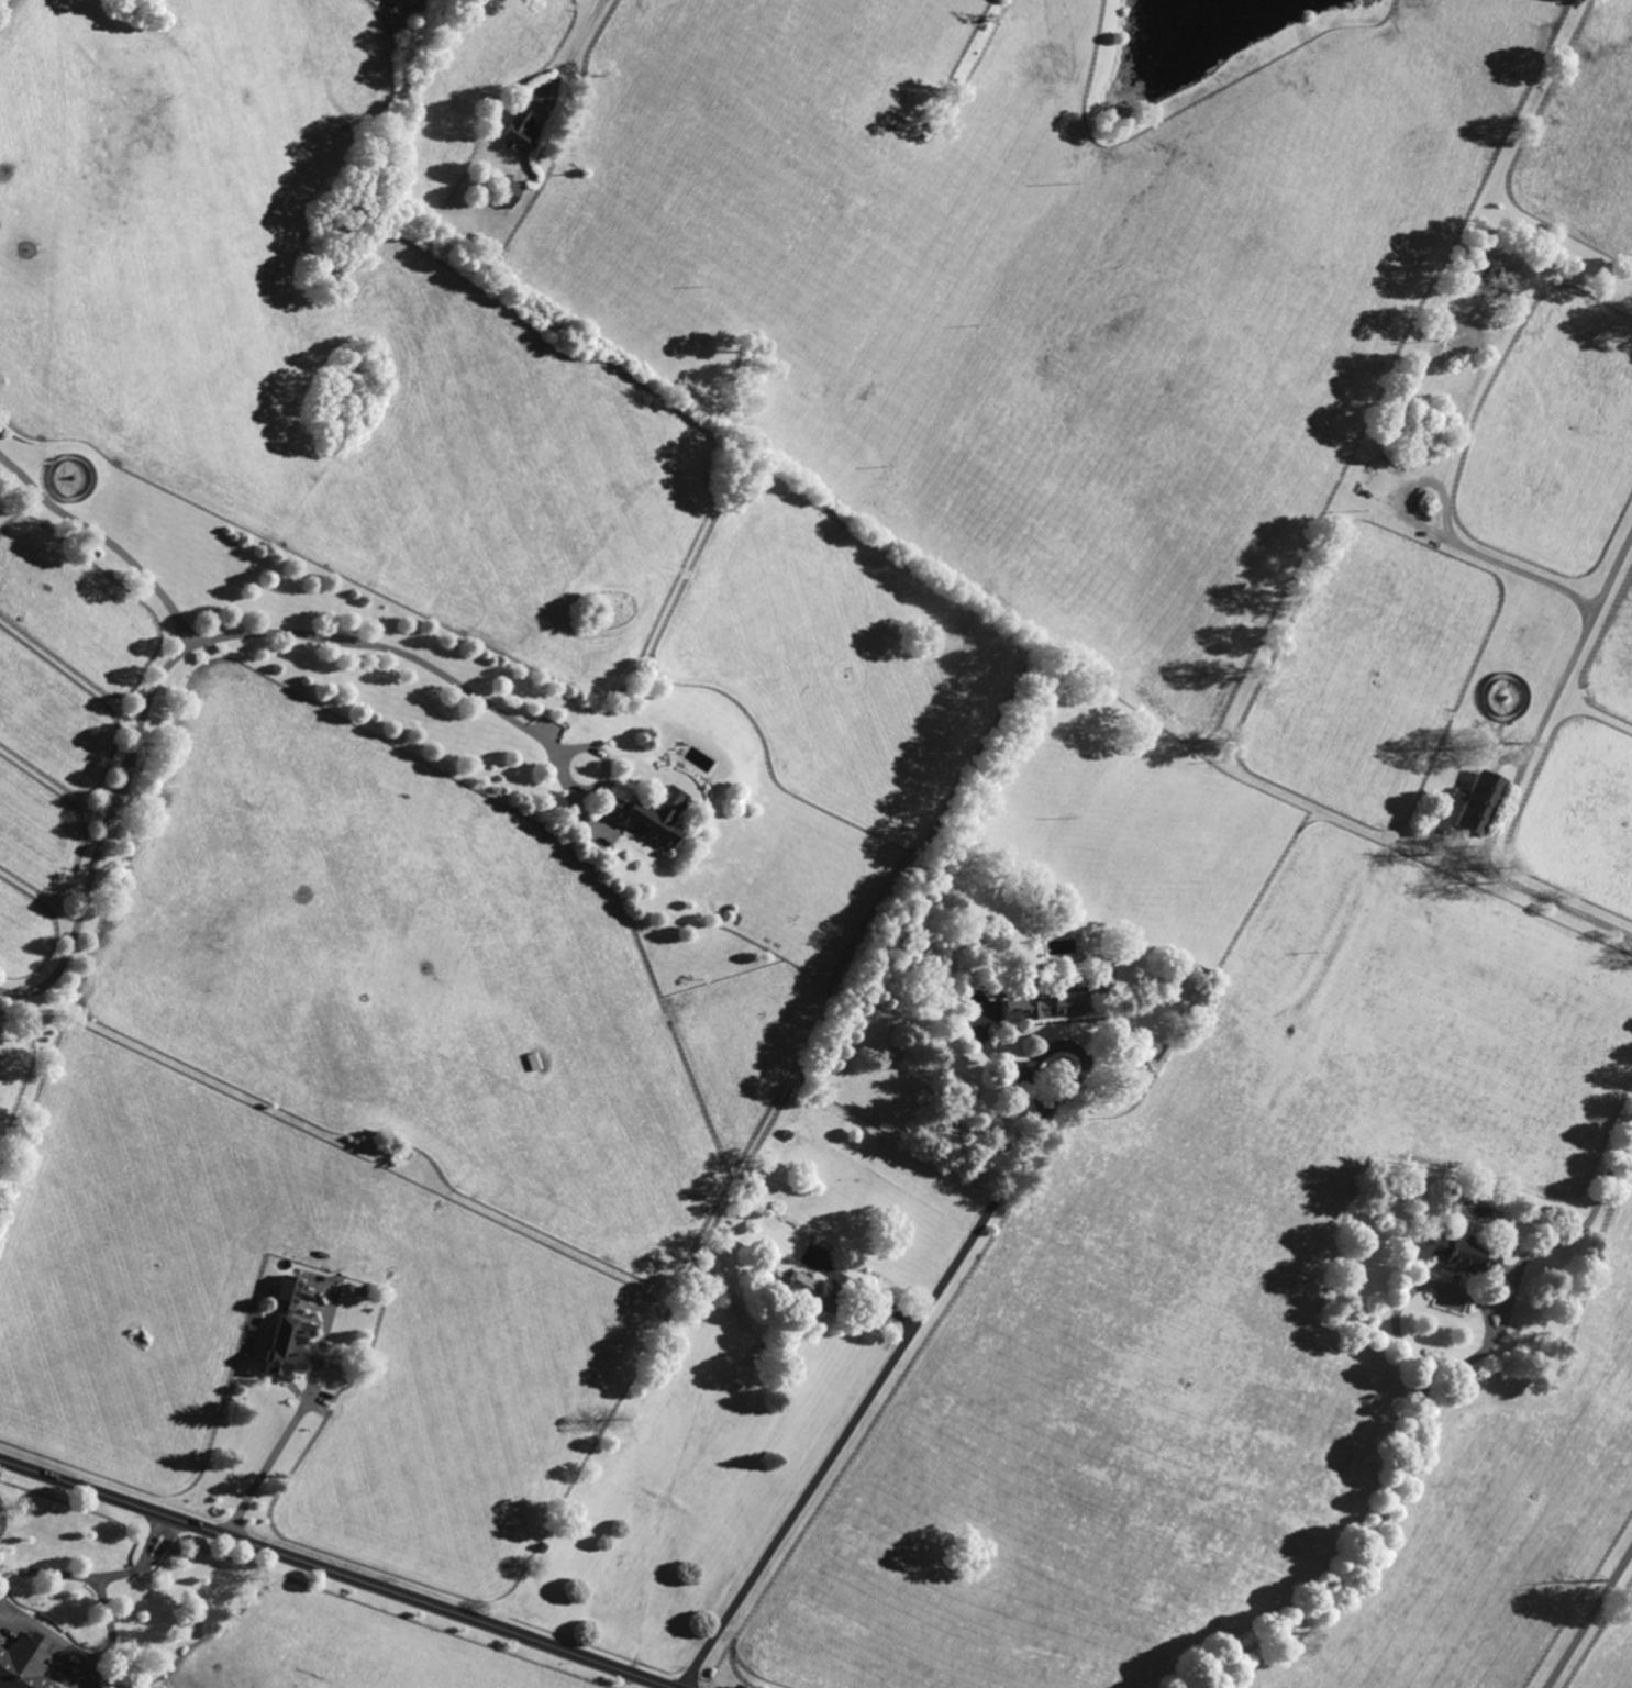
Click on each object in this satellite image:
road: (571, 46)
building: (515, 130)
building: (393, 138)
building: (506, 192)
building: (327, 245)
building: (1461, 347)
road: (1445, 537)
road: (403, 655)
road: (147, 702)
road: (1519, 770)
building: (1475, 800)
building: (642, 817)
building: (1199, 970)
building: (1097, 982)
building: (1042, 1006)
road: (1066, 1043)
building: (532, 1060)
building: (1444, 1203)
road: (1573, 1231)
building: (1462, 1255)
road: (1453, 1286)
building: (801, 1287)
road: (1500, 1325)
building: (280, 1353)
road: (862, 1407)
road: (292, 1420)
road: (1347, 1570)
road: (338, 1574)
road: (96, 1575)
road: (1588, 1618)
building: (24, 1663)

